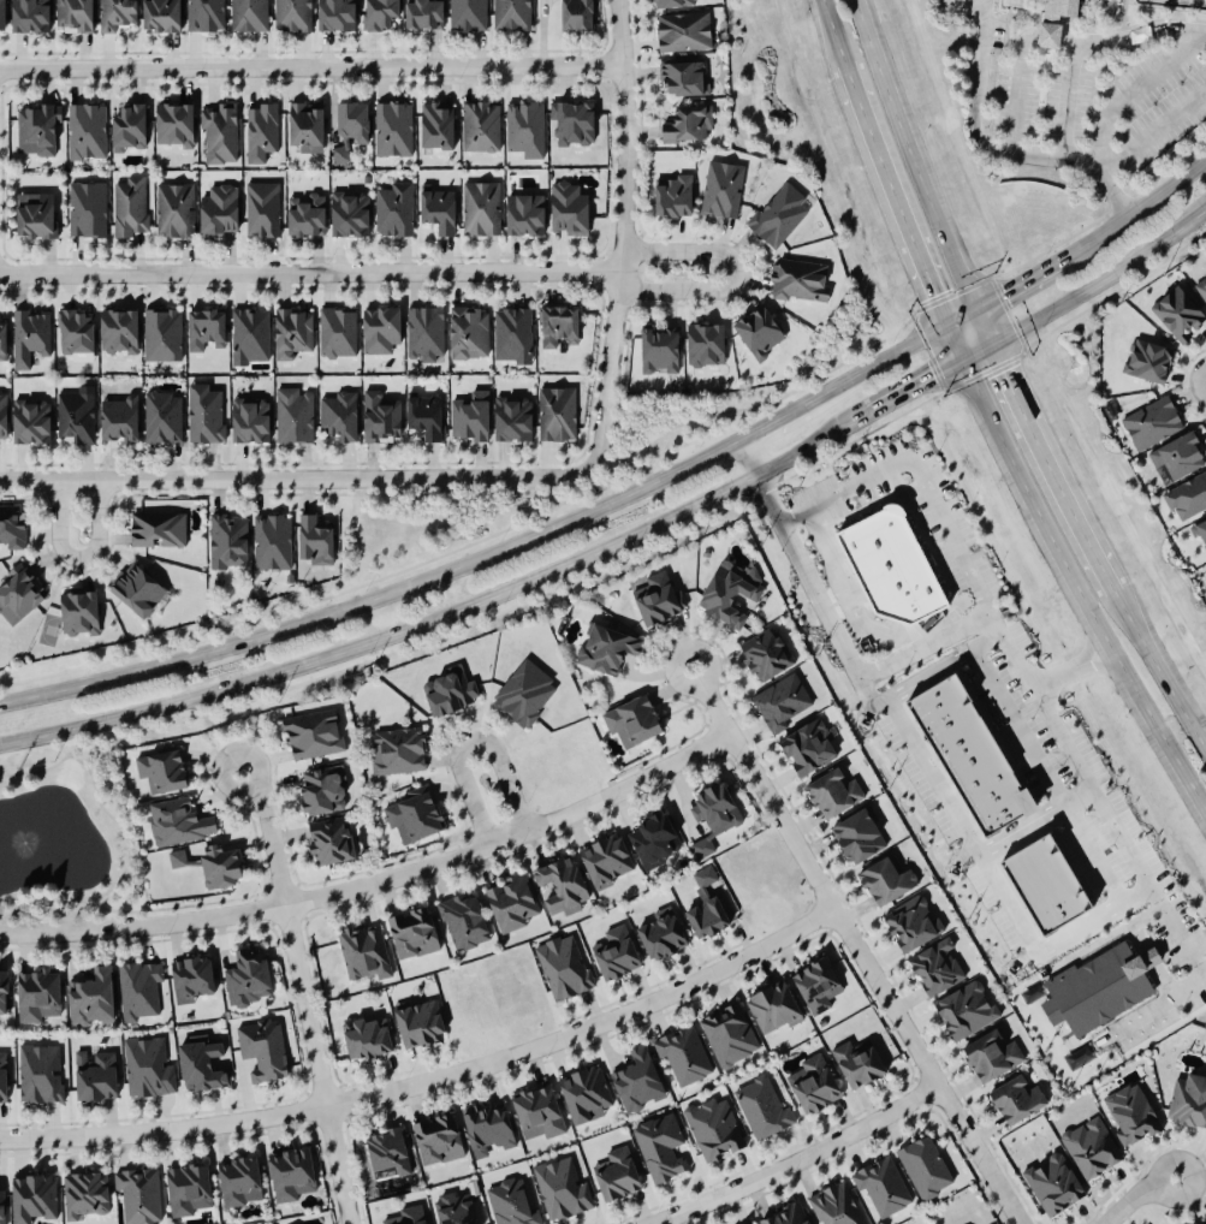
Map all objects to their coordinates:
building: (672, 2)
road: (966, 2)
road: (957, 4)
building: (1, 13)
building: (115, 13)
building: (379, 13)
building: (423, 13)
building: (576, 13)
building: (29, 14)
building: (75, 14)
building: (161, 14)
building: (204, 14)
building: (249, 14)
building: (292, 14)
building: (335, 14)
building: (468, 14)
building: (511, 14)
building: (1053, 20)
building: (683, 30)
road: (830, 31)
road: (1115, 40)
road: (310, 70)
building: (683, 77)
road: (1011, 94)
road: (1129, 94)
road: (1064, 99)
parking lot: (1101, 99)
building: (572, 121)
building: (176, 123)
building: (688, 123)
building: (305, 125)
building: (435, 125)
building: (480, 125)
building: (129, 126)
building: (351, 126)
building: (393, 127)
building: (524, 127)
building: (37, 129)
building: (87, 130)
road: (1149, 130)
building: (261, 131)
building: (219, 132)
road: (972, 132)
road: (905, 155)
building: (721, 189)
road: (1111, 191)
road: (889, 194)
building: (673, 195)
building: (129, 206)
building: (480, 207)
road: (1111, 207)
building: (87, 208)
building: (262, 208)
building: (436, 208)
building: (569, 208)
road: (1139, 208)
building: (174, 209)
building: (394, 209)
building: (218, 210)
building: (347, 213)
building: (524, 213)
building: (35, 214)
building: (305, 214)
building: (778, 214)
road: (620, 236)
road: (676, 250)
road: (308, 271)
building: (1204, 271)
building: (798, 279)
road: (1017, 280)
road: (1127, 281)
road: (1085, 283)
traffic signals: (1004, 289)
building: (1202, 289)
road: (683, 290)
traffic signals: (931, 295)
building: (1177, 313)
building: (558, 323)
building: (204, 327)
road: (976, 327)
building: (381, 328)
building: (119, 329)
building: (75, 331)
building: (758, 331)
building: (292, 332)
building: (337, 332)
building: (424, 332)
building: (467, 332)
building: (161, 333)
building: (512, 333)
building: (249, 334)
building: (29, 335)
building: (2, 340)
building: (705, 343)
building: (659, 347)
building: (1146, 358)
traffic signals: (998, 372)
traffic signals: (929, 376)
road: (914, 385)
building: (204, 412)
building: (556, 412)
building: (2, 414)
building: (76, 414)
building: (424, 414)
building: (293, 415)
building: (339, 415)
building: (161, 416)
building: (380, 416)
building: (470, 416)
building: (119, 417)
building: (512, 418)
building: (30, 420)
building: (251, 421)
building: (1151, 421)
building: (1177, 454)
road: (1045, 469)
road: (916, 470)
road: (293, 482)
building: (1187, 497)
building: (11, 527)
building: (158, 528)
building: (1200, 534)
building: (227, 540)
building: (315, 540)
building: (271, 541)
road: (501, 549)
road: (75, 559)
building: (891, 565)
road: (1065, 572)
building: (136, 588)
road: (852, 588)
building: (729, 590)
building: (19, 593)
building: (659, 596)
building: (79, 612)
road: (447, 613)
building: (606, 647)
building: (765, 652)
road: (943, 664)
road: (880, 666)
road: (1157, 672)
building: (448, 690)
building: (524, 691)
road: (869, 696)
building: (782, 700)
building: (938, 703)
building: (632, 719)
building: (955, 731)
building: (313, 732)
road: (471, 741)
building: (807, 745)
building: (397, 749)
building: (969, 755)
building: (161, 767)
building: (980, 773)
road: (1046, 774)
road: (934, 776)
building: (322, 788)
building: (988, 788)
building: (832, 791)
building: (994, 797)
building: (1005, 812)
building: (414, 813)
building: (713, 814)
road: (1033, 818)
building: (177, 820)
building: (859, 833)
road: (269, 834)
road: (1117, 834)
building: (653, 838)
building: (329, 839)
fountain: (19, 843)
building: (177, 856)
building: (606, 858)
building: (218, 864)
building: (886, 878)
road: (378, 881)
building: (560, 883)
building: (1047, 883)
building: (511, 901)
road: (1009, 903)
building: (705, 904)
road: (1093, 919)
building: (462, 920)
building: (911, 921)
building: (412, 931)
building: (661, 932)
road: (856, 947)
building: (363, 950)
building: (616, 951)
building: (564, 964)
building: (937, 965)
building: (246, 975)
building: (192, 976)
building: (816, 984)
building: (1098, 986)
building: (138, 987)
building: (4, 991)
building: (36, 991)
building: (90, 994)
road: (1154, 1002)
building: (773, 1006)
building: (966, 1008)
building: (418, 1020)
building: (729, 1032)
building: (368, 1035)
building: (262, 1046)
building: (683, 1052)
building: (990, 1054)
building: (201, 1062)
building: (857, 1062)
road: (314, 1064)
building: (147, 1065)
building: (41, 1070)
building: (95, 1073)
building: (2, 1075)
building: (637, 1079)
road: (432, 1081)
building: (813, 1082)
building: (586, 1092)
building: (1016, 1097)
building: (1188, 1100)
building: (761, 1105)
building: (536, 1111)
building: (1131, 1112)
building: (487, 1125)
building: (713, 1125)
building: (438, 1137)
building: (660, 1145)
building: (1091, 1146)
building: (387, 1148)
road: (794, 1163)
building: (923, 1164)
building: (291, 1172)
building: (617, 1172)
building: (239, 1180)
building: (1052, 1181)
building: (881, 1183)
building: (562, 1186)
building: (188, 1187)
building: (85, 1193)
building: (139, 1194)
building: (32, 1195)
road: (1134, 1195)
building: (511, 1200)
building: (833, 1204)
building: (1, 1205)
building: (455, 1207)
building: (404, 1214)
building: (785, 1214)
building: (748, 1222)

